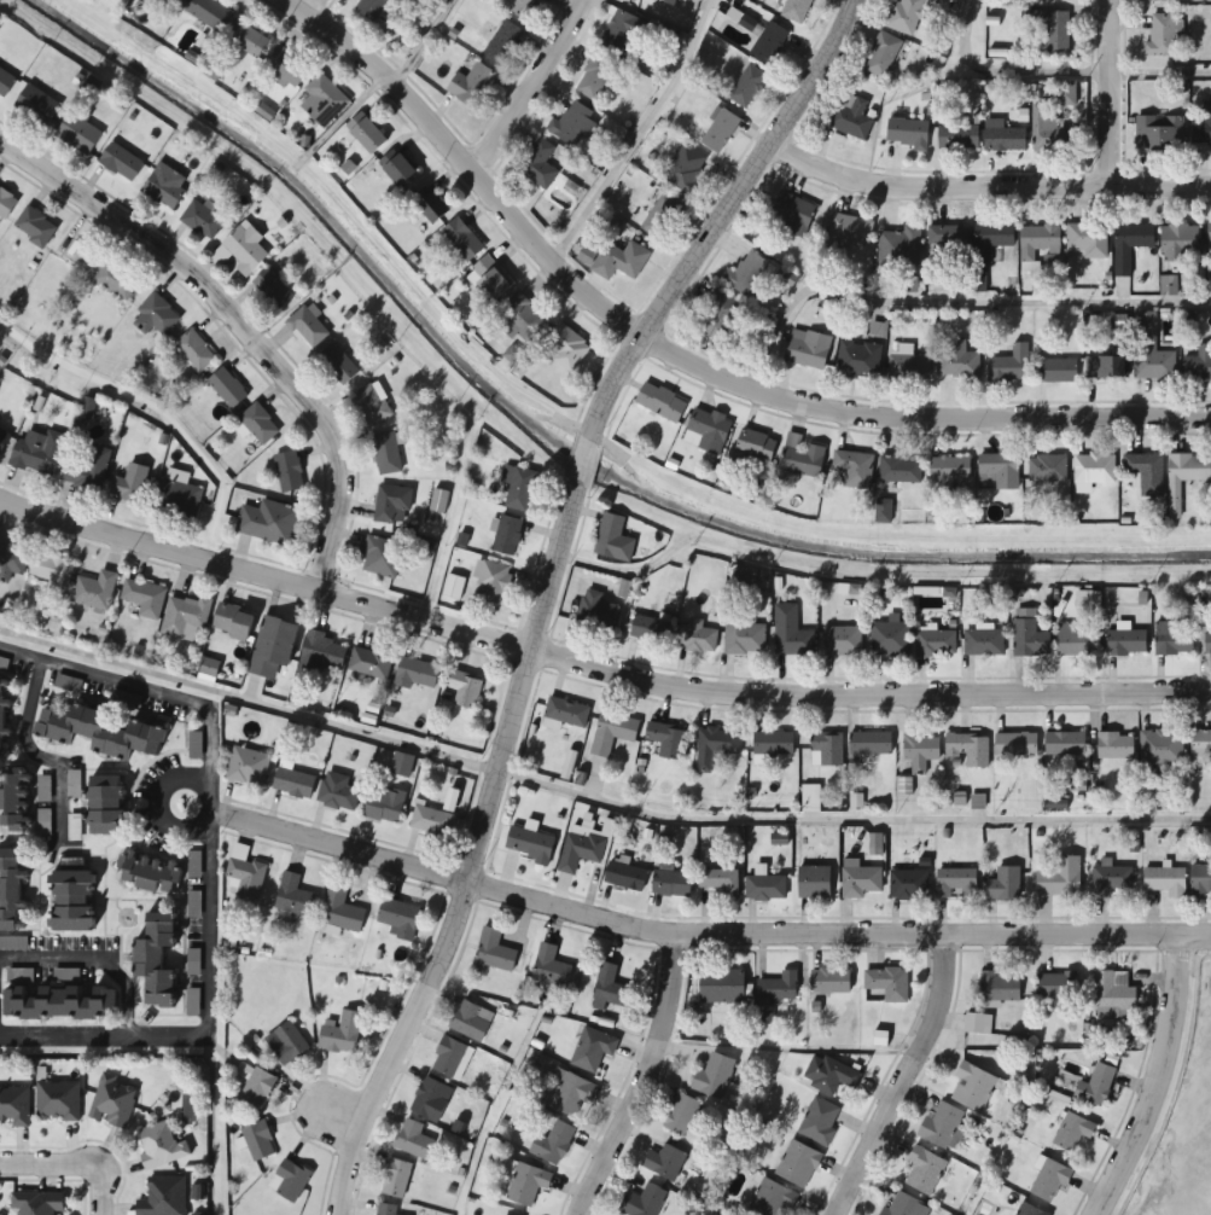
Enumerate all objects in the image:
building: (1052, 0)
building: (1157, 0)
building: (656, 1)
building: (169, 2)
building: (518, 7)
road: (303, 8)
building: (372, 8)
building: (796, 10)
building: (209, 13)
building: (908, 14)
building: (1052, 29)
building: (622, 30)
building: (1160, 36)
building: (246, 40)
building: (502, 42)
road: (420, 43)
building: (769, 45)
building: (881, 56)
building: (285, 68)
road: (1056, 72)
building: (596, 79)
building: (5, 82)
road: (514, 82)
building: (472, 86)
building: (747, 87)
building: (1066, 94)
road: (1113, 94)
building: (324, 101)
building: (35, 104)
building: (851, 117)
building: (572, 126)
building: (1203, 129)
building: (720, 132)
building: (77, 133)
building: (907, 133)
building: (1048, 133)
building: (366, 134)
building: (1160, 134)
road: (637, 136)
building: (957, 136)
building: (1003, 139)
building: (121, 162)
building: (538, 165)
building: (396, 168)
building: (687, 169)
building: (164, 186)
road: (984, 190)
building: (5, 203)
building: (430, 204)
building: (792, 214)
building: (662, 217)
building: (200, 220)
building: (34, 226)
building: (849, 231)
building: (1209, 233)
building: (948, 239)
building: (991, 239)
building: (461, 240)
building: (1038, 240)
building: (1087, 240)
building: (1178, 243)
building: (1129, 245)
building: (901, 246)
building: (244, 249)
road: (337, 254)
building: (616, 258)
building: (749, 274)
building: (1209, 275)
building: (489, 279)
building: (115, 280)
building: (272, 289)
road: (948, 302)
building: (156, 316)
building: (721, 319)
building: (520, 321)
road: (238, 326)
building: (308, 327)
building: (805, 347)
building: (565, 348)
building: (194, 350)
building: (1152, 351)
building: (857, 357)
building: (957, 361)
building: (1198, 362)
building: (337, 365)
road: (674, 365)
building: (1009, 365)
building: (908, 367)
building: (1104, 367)
building: (1055, 372)
building: (226, 386)
building: (660, 402)
building: (371, 405)
road: (155, 408)
building: (258, 424)
building: (708, 431)
building: (4, 440)
building: (753, 444)
building: (37, 453)
building: (386, 454)
building: (800, 457)
building: (854, 469)
building: (949, 469)
building: (1047, 469)
building: (1094, 469)
building: (899, 470)
building: (87, 471)
building: (999, 471)
building: (289, 472)
building: (1146, 473)
building: (1184, 477)
building: (130, 484)
building: (518, 488)
building: (177, 498)
building: (437, 502)
building: (391, 505)
building: (268, 522)
building: (507, 536)
building: (613, 539)
building: (382, 558)
building: (11, 562)
building: (52, 572)
building: (491, 582)
road: (545, 582)
building: (94, 591)
building: (144, 598)
building: (596, 612)
building: (185, 617)
building: (231, 622)
building: (650, 629)
building: (791, 633)
building: (1029, 634)
building: (743, 635)
building: (695, 638)
building: (890, 639)
building: (1172, 640)
building: (1209, 640)
building: (842, 641)
building: (1073, 641)
building: (1125, 641)
building: (984, 643)
building: (936, 644)
building: (272, 649)
building: (321, 653)
building: (369, 663)
road: (595, 668)
building: (464, 688)
building: (566, 713)
building: (1, 720)
building: (97, 732)
building: (613, 733)
building: (666, 739)
building: (773, 744)
building: (871, 744)
building: (1015, 744)
building: (1064, 744)
building: (1116, 745)
building: (716, 746)
building: (1200, 746)
building: (1161, 748)
building: (968, 749)
building: (827, 750)
building: (920, 751)
road: (39, 758)
building: (248, 767)
building: (292, 783)
building: (43, 789)
building: (337, 792)
road: (595, 797)
building: (13, 801)
building: (383, 804)
building: (101, 806)
road: (159, 810)
building: (430, 820)
building: (43, 821)
building: (529, 844)
building: (581, 850)
building: (194, 864)
road: (211, 871)
building: (147, 873)
building: (624, 876)
building: (245, 877)
building: (1060, 878)
building: (1200, 878)
building: (1110, 879)
building: (860, 880)
building: (1165, 880)
building: (720, 882)
building: (956, 882)
building: (670, 883)
building: (814, 883)
building: (908, 884)
building: (1005, 885)
building: (765, 888)
building: (8, 890)
building: (293, 896)
building: (68, 899)
building: (193, 903)
building: (340, 911)
building: (397, 918)
road: (703, 934)
building: (494, 951)
road: (94, 959)
building: (152, 960)
building: (549, 966)
building: (829, 981)
building: (886, 984)
building: (721, 986)
building: (609, 987)
building: (1000, 987)
building: (1056, 987)
building: (778, 988)
building: (1113, 995)
building: (57, 1002)
building: (468, 1021)
building: (978, 1023)
building: (340, 1033)
building: (286, 1045)
building: (592, 1048)
building: (450, 1058)
building: (828, 1074)
building: (714, 1075)
road: (640, 1077)
road: (906, 1079)
road: (1154, 1082)
building: (973, 1087)
building: (1096, 1087)
building: (572, 1094)
building: (430, 1099)
building: (57, 1101)
building: (111, 1101)
building: (13, 1106)
road: (337, 1112)
building: (682, 1115)
building: (820, 1121)
building: (943, 1127)
building: (1072, 1133)
building: (412, 1140)
building: (257, 1141)
building: (552, 1144)
building: (159, 1145)
building: (664, 1162)
building: (797, 1163)
road: (70, 1164)
building: (922, 1170)
building: (395, 1179)
building: (289, 1180)
building: (1049, 1181)
building: (526, 1184)
building: (162, 1197)
building: (769, 1199)
building: (36, 1202)
building: (642, 1202)
building: (903, 1208)
building: (385, 1209)
building: (1029, 1210)

